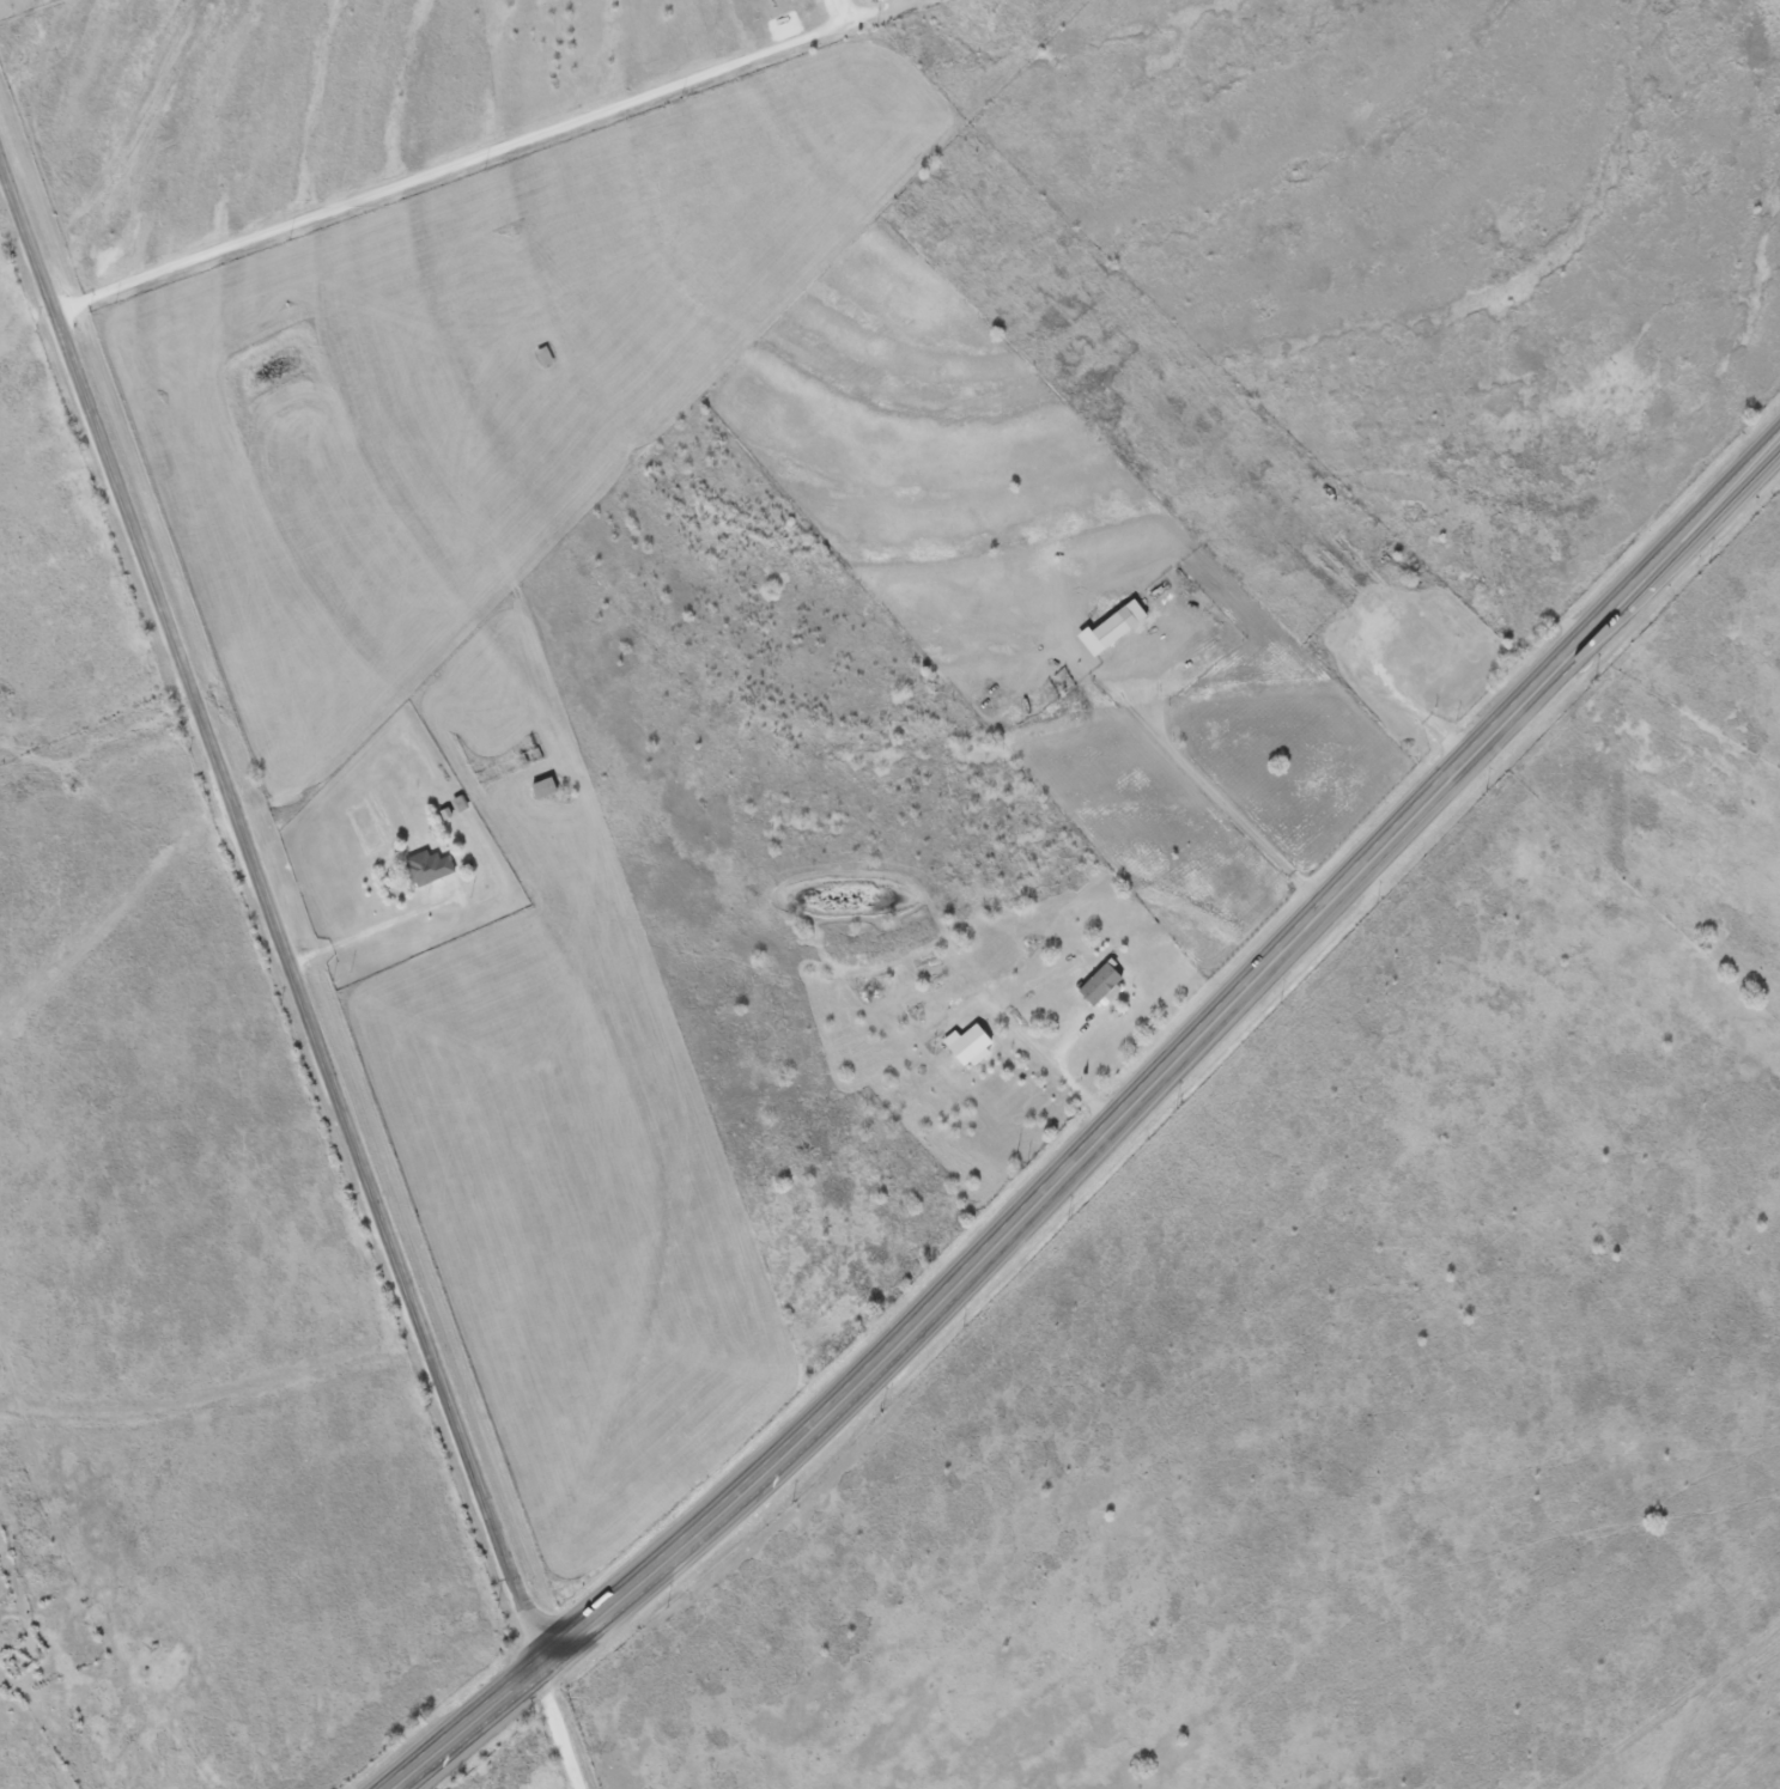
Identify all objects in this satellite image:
building: (541, 357)
building: (1105, 631)
building: (539, 787)
building: (425, 868)
road: (297, 960)
road: (1107, 1138)

